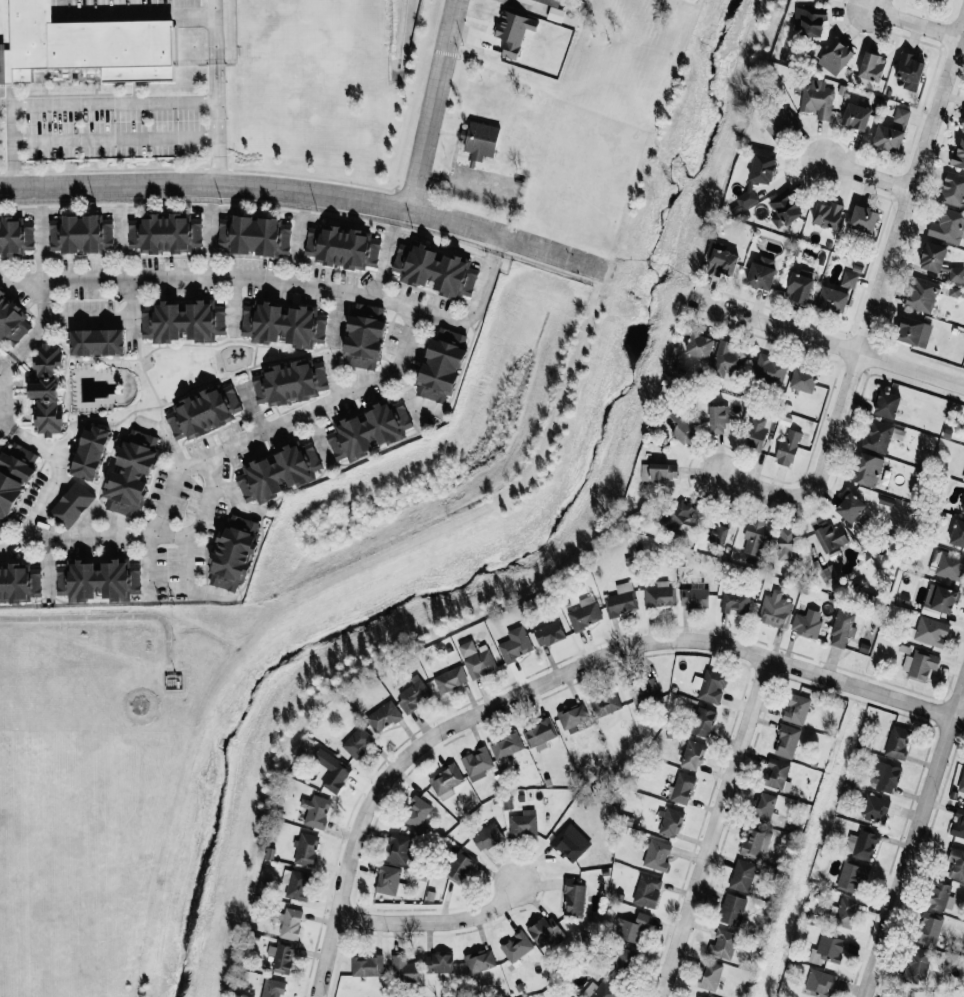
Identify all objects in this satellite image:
building: (941, 0)
building: (550, 2)
road: (911, 20)
building: (809, 21)
building: (513, 32)
building: (77, 50)
road: (212, 50)
building: (837, 54)
building: (871, 66)
building: (909, 71)
building: (816, 98)
road: (112, 102)
road: (437, 104)
building: (901, 115)
building: (856, 116)
building: (781, 124)
building: (962, 127)
road: (113, 137)
building: (887, 138)
building: (481, 140)
building: (958, 156)
road: (862, 171)
building: (757, 177)
road: (305, 189)
building: (953, 189)
road: (485, 190)
building: (784, 208)
building: (827, 215)
building: (863, 219)
building: (947, 226)
building: (80, 233)
building: (165, 233)
building: (254, 235)
building: (15, 236)
road: (209, 242)
road: (495, 242)
road: (119, 243)
building: (342, 247)
road: (297, 248)
building: (932, 257)
building: (722, 260)
road: (41, 263)
road: (383, 263)
building: (434, 270)
building: (761, 272)
building: (956, 274)
road: (270, 279)
building: (849, 279)
building: (799, 286)
building: (921, 294)
building: (832, 300)
road: (232, 306)
road: (874, 310)
road: (130, 313)
road: (334, 317)
road: (62, 319)
building: (11, 321)
building: (182, 321)
building: (283, 324)
building: (913, 331)
building: (364, 337)
building: (96, 342)
road: (830, 342)
building: (699, 346)
building: (726, 360)
road: (6, 362)
building: (441, 368)
building: (769, 369)
road: (333, 376)
building: (803, 379)
building: (289, 383)
road: (408, 398)
building: (887, 404)
road: (250, 407)
building: (202, 412)
road: (283, 419)
building: (718, 419)
building: (679, 427)
road: (6, 428)
building: (368, 430)
building: (756, 434)
road: (315, 436)
road: (165, 439)
road: (64, 442)
building: (787, 448)
building: (89, 453)
road: (354, 459)
building: (866, 469)
road: (208, 470)
building: (660, 471)
building: (279, 472)
building: (131, 473)
building: (13, 478)
road: (50, 488)
building: (71, 504)
building: (850, 507)
building: (963, 509)
building: (677, 515)
building: (958, 530)
building: (718, 532)
road: (165, 534)
building: (828, 534)
building: (753, 537)
building: (785, 543)
building: (232, 553)
road: (48, 566)
building: (948, 566)
road: (145, 567)
building: (98, 580)
building: (19, 583)
road: (182, 586)
building: (659, 594)
building: (694, 596)
building: (940, 598)
building: (621, 599)
building: (735, 602)
building: (775, 610)
building: (585, 613)
building: (806, 623)
building: (841, 629)
building: (928, 630)
building: (548, 633)
building: (515, 644)
building: (467, 648)
building: (479, 664)
building: (921, 665)
building: (450, 679)
road: (560, 683)
building: (710, 686)
building: (644, 692)
building: (412, 694)
building: (604, 702)
building: (796, 709)
building: (383, 716)
building: (572, 717)
building: (702, 721)
building: (540, 734)
building: (786, 741)
building: (357, 742)
building: (897, 742)
building: (506, 746)
building: (692, 755)
building: (477, 763)
building: (331, 770)
building: (776, 773)
building: (884, 776)
building: (445, 779)
building: (961, 781)
building: (682, 788)
building: (763, 807)
building: (874, 807)
building: (315, 811)
building: (416, 812)
building: (669, 822)
building: (958, 823)
building: (523, 824)
road: (720, 826)
building: (487, 836)
building: (755, 841)
building: (862, 844)
road: (916, 844)
building: (567, 845)
building: (399, 847)
building: (305, 848)
building: (656, 855)
building: (956, 864)
building: (458, 866)
building: (742, 875)
building: (851, 875)
building: (298, 885)
building: (647, 891)
building: (941, 896)
building: (573, 897)
building: (731, 909)
building: (842, 912)
road: (440, 917)
building: (291, 923)
building: (632, 928)
building: (929, 928)
building: (544, 930)
building: (723, 944)
building: (516, 946)
building: (827, 949)
building: (281, 957)
building: (623, 960)
building: (478, 962)
building: (439, 963)
building: (917, 964)
building: (367, 965)
building: (403, 969)
building: (709, 975)
building: (819, 983)
building: (272, 988)
building: (601, 990)

